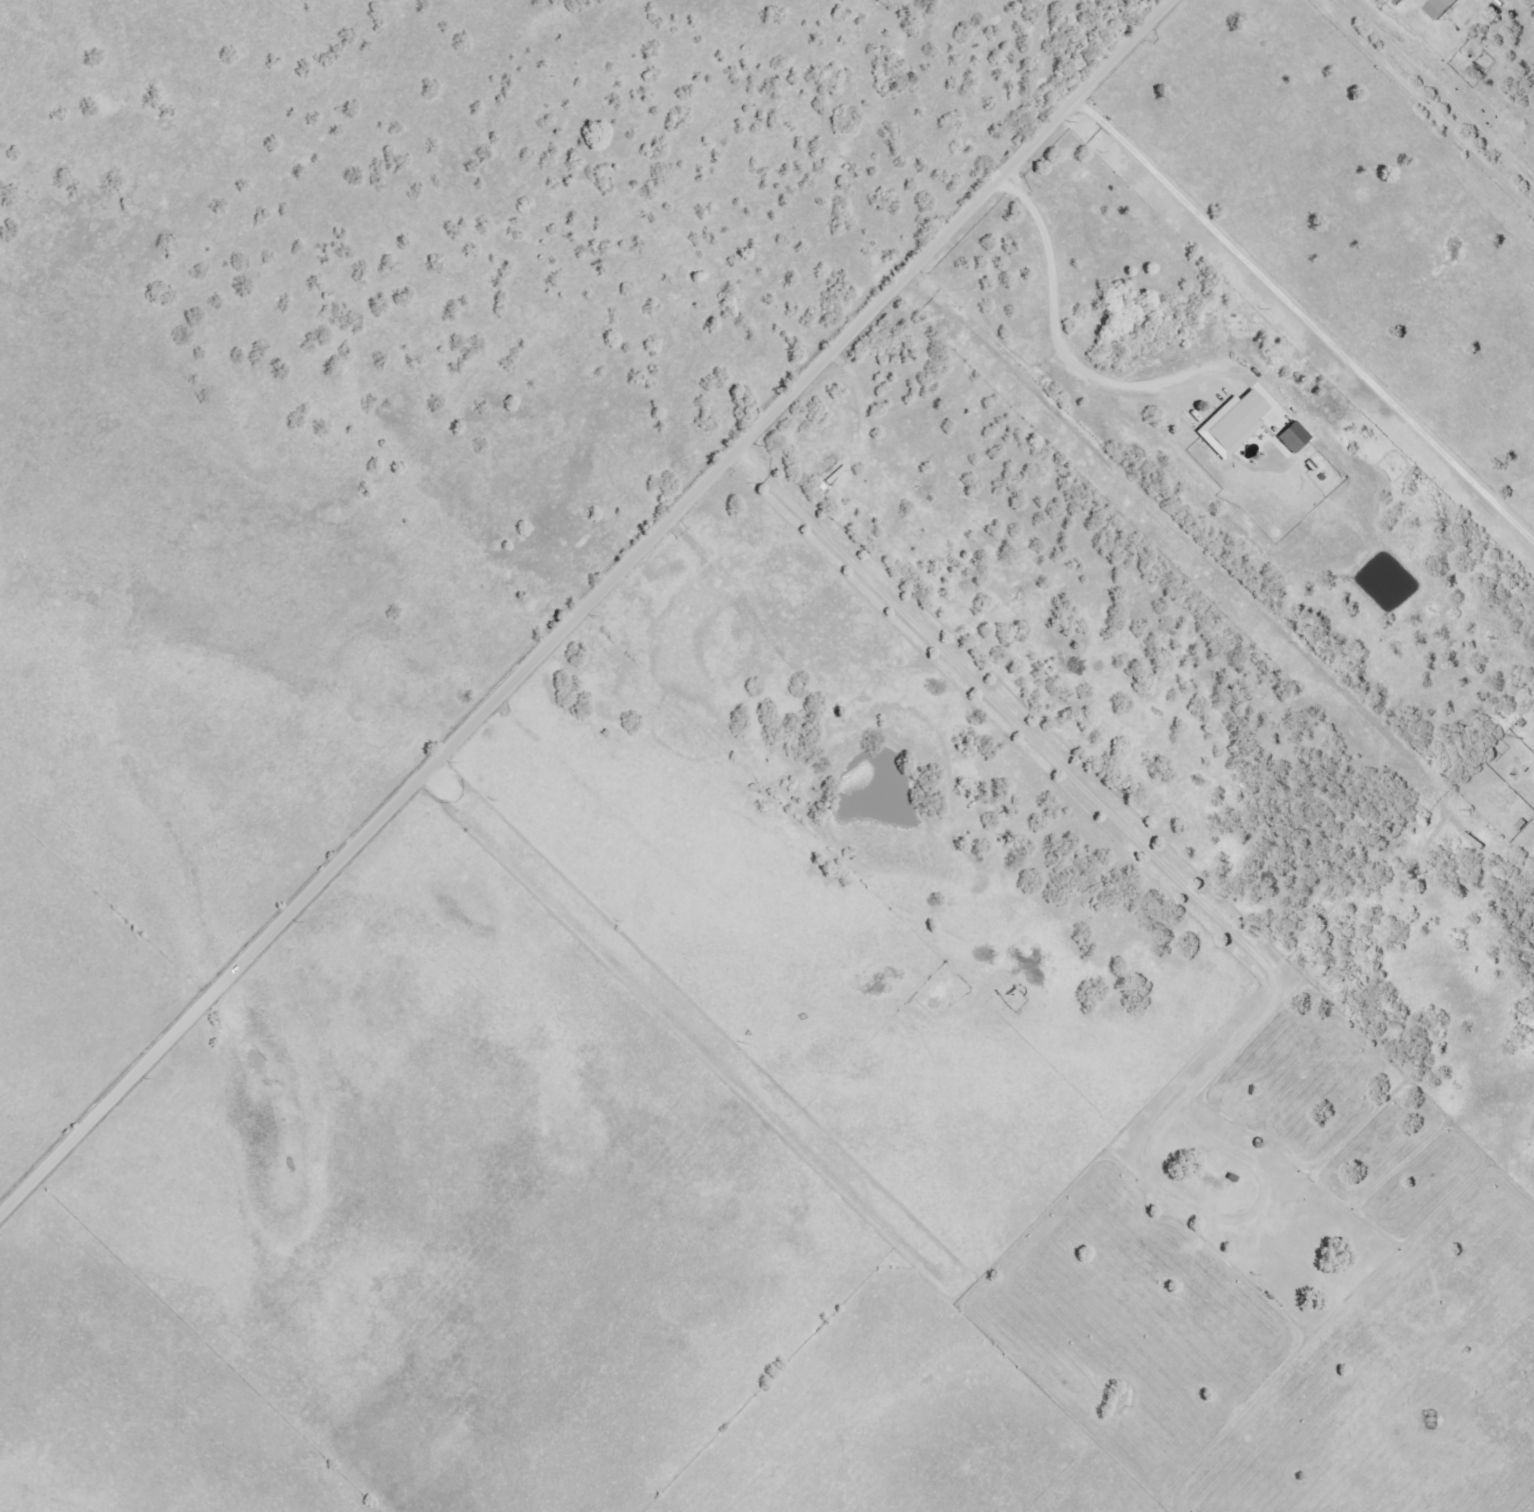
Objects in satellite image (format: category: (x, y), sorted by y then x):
building: (1440, 8)
road: (1305, 322)
road: (1058, 344)
building: (1231, 425)
building: (1292, 437)
road: (585, 607)

